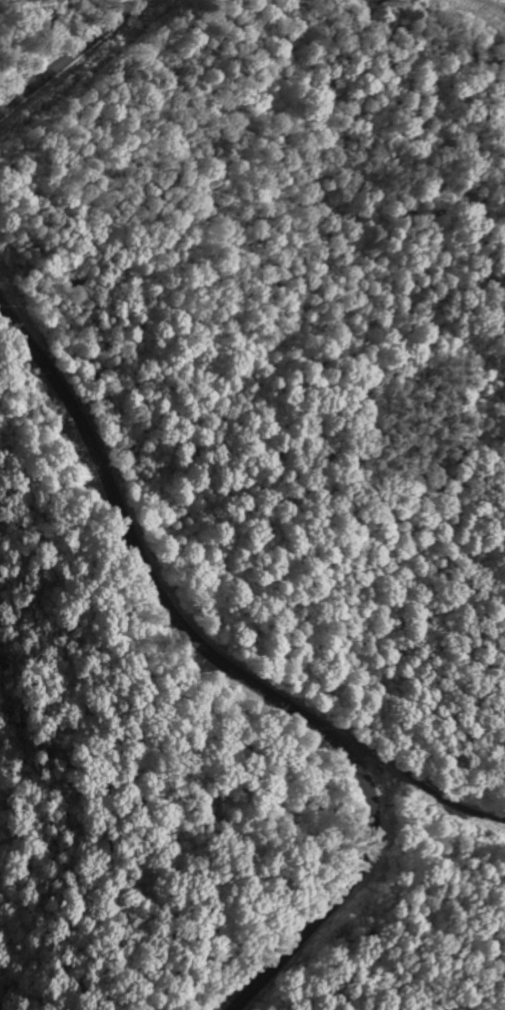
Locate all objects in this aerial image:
road: (65, 59)
road: (238, 673)
road: (418, 787)

